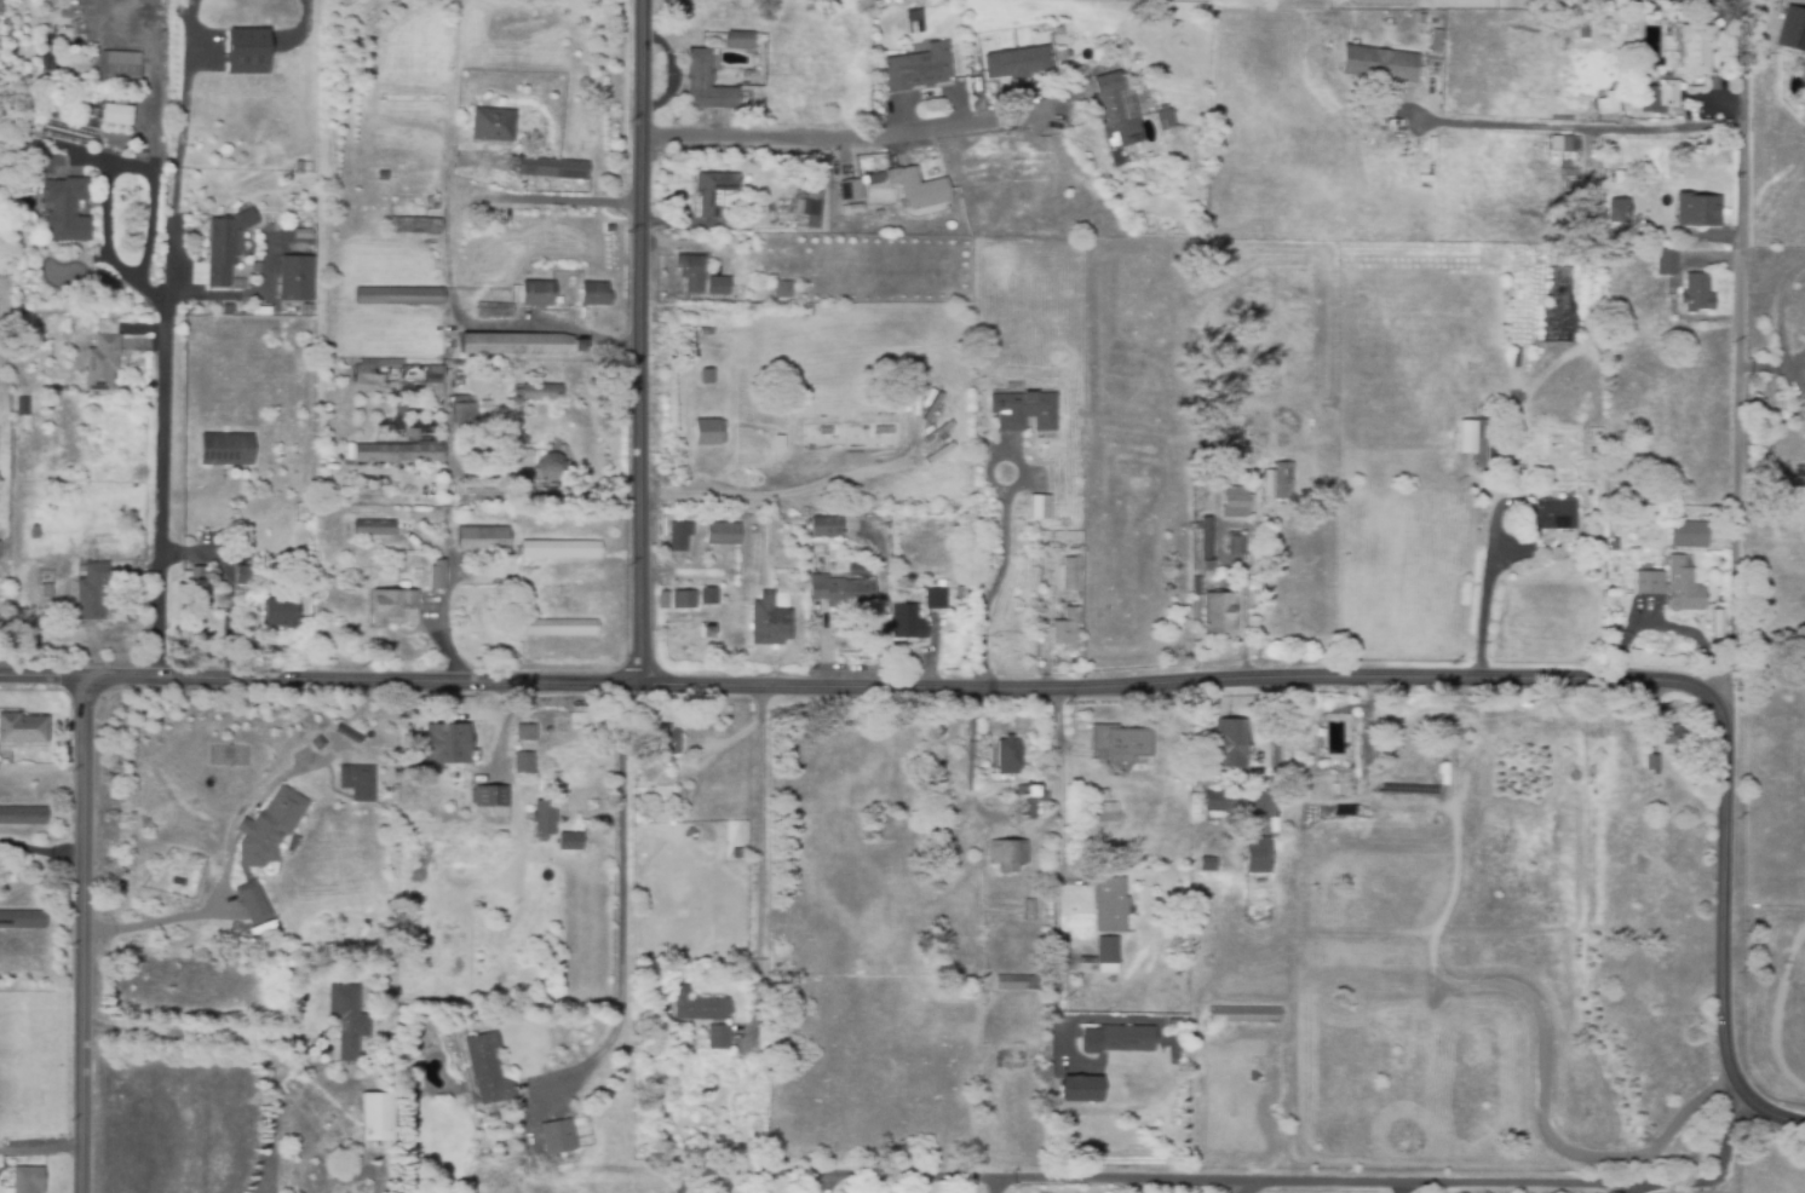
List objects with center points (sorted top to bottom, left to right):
building: (913, 21)
road: (306, 23)
building: (1614, 28)
building: (1581, 29)
building: (1792, 29)
building: (737, 42)
building: (1433, 42)
building: (242, 51)
building: (1695, 51)
building: (1016, 64)
building: (1376, 65)
building: (117, 70)
building: (919, 73)
building: (873, 80)
building: (703, 85)
building: (1659, 98)
building: (1606, 104)
building: (1110, 106)
road: (185, 114)
building: (116, 115)
building: (1163, 120)
building: (494, 123)
road: (1576, 128)
road: (841, 137)
building: (137, 155)
building: (551, 168)
building: (381, 178)
building: (873, 183)
building: (920, 191)
building: (711, 195)
building: (847, 196)
road: (573, 198)
building: (27, 204)
building: (1698, 208)
building: (65, 209)
building: (806, 212)
building: (1619, 215)
building: (413, 223)
building: (263, 226)
building: (225, 247)
building: (1663, 263)
building: (691, 273)
building: (294, 279)
building: (715, 286)
building: (781, 288)
building: (536, 294)
building: (1695, 294)
building: (593, 295)
building: (397, 298)
building: (492, 311)
building: (298, 312)
building: (259, 315)
road: (1778, 316)
road: (542, 328)
road: (644, 339)
road: (1738, 339)
building: (522, 344)
building: (102, 358)
building: (1533, 363)
road: (1765, 363)
building: (731, 367)
building: (399, 376)
building: (707, 376)
building: (540, 392)
building: (730, 402)
building: (1803, 404)
building: (484, 407)
building: (22, 408)
building: (1529, 410)
building: (461, 411)
building: (1022, 411)
building: (705, 431)
building: (1241, 437)
building: (730, 439)
building: (780, 440)
building: (1484, 446)
road: (186, 448)
building: (224, 450)
building: (397, 454)
building: (517, 460)
building: (550, 466)
building: (1521, 468)
building: (1283, 480)
road: (557, 495)
building: (1235, 503)
building: (1037, 506)
building: (1544, 513)
building: (822, 526)
building: (372, 529)
building: (247, 531)
building: (34, 532)
building: (720, 534)
building: (678, 536)
building: (1044, 536)
building: (1686, 536)
building: (798, 537)
building: (481, 540)
building: (1232, 542)
building: (1203, 546)
building: (559, 551)
building: (322, 559)
building: (1614, 559)
building: (271, 569)
building: (414, 574)
building: (1068, 575)
building: (436, 576)
building: (245, 577)
road: (999, 578)
building: (191, 580)
building: (1643, 581)
building: (942, 583)
building: (922, 584)
building: (1682, 587)
building: (46, 592)
building: (91, 592)
building: (839, 592)
building: (1045, 595)
building: (707, 596)
building: (945, 599)
road: (1488, 601)
building: (391, 609)
building: (682, 609)
building: (281, 613)
building: (1217, 613)
building: (904, 618)
building: (768, 622)
building: (557, 628)
building: (1064, 628)
building: (705, 633)
road: (864, 681)
building: (22, 730)
building: (523, 733)
building: (1669, 736)
building: (665, 740)
building: (1120, 743)
building: (316, 744)
building: (444, 744)
building: (1228, 744)
road: (1274, 745)
building: (1006, 756)
building: (1649, 763)
building: (521, 766)
building: (357, 780)
building: (544, 794)
building: (489, 800)
building: (1029, 801)
building: (1212, 801)
building: (1122, 809)
building: (1097, 813)
building: (22, 817)
building: (269, 826)
building: (580, 835)
road: (1058, 848)
road: (40, 851)
building: (1255, 855)
building: (1006, 857)
road: (760, 859)
building: (1206, 864)
road: (228, 872)
building: (1259, 883)
road: (622, 887)
building: (252, 903)
building: (1109, 905)
building: (1027, 911)
building: (22, 921)
road: (1723, 923)
road: (81, 932)
building: (1105, 952)
building: (1017, 982)
building: (696, 1007)
building: (1242, 1015)
building: (346, 1021)
road: (180, 1031)
building: (717, 1038)
building: (1115, 1039)
building: (1008, 1061)
building: (487, 1070)
building: (1079, 1088)
building: (375, 1118)
building: (557, 1137)
road: (40, 1151)
road: (1718, 1172)
road: (688, 1178)
road: (1163, 1178)
building: (25, 1180)
road: (996, 1185)
road: (1247, 1187)
road: (1397, 1187)
road: (1625, 1189)

